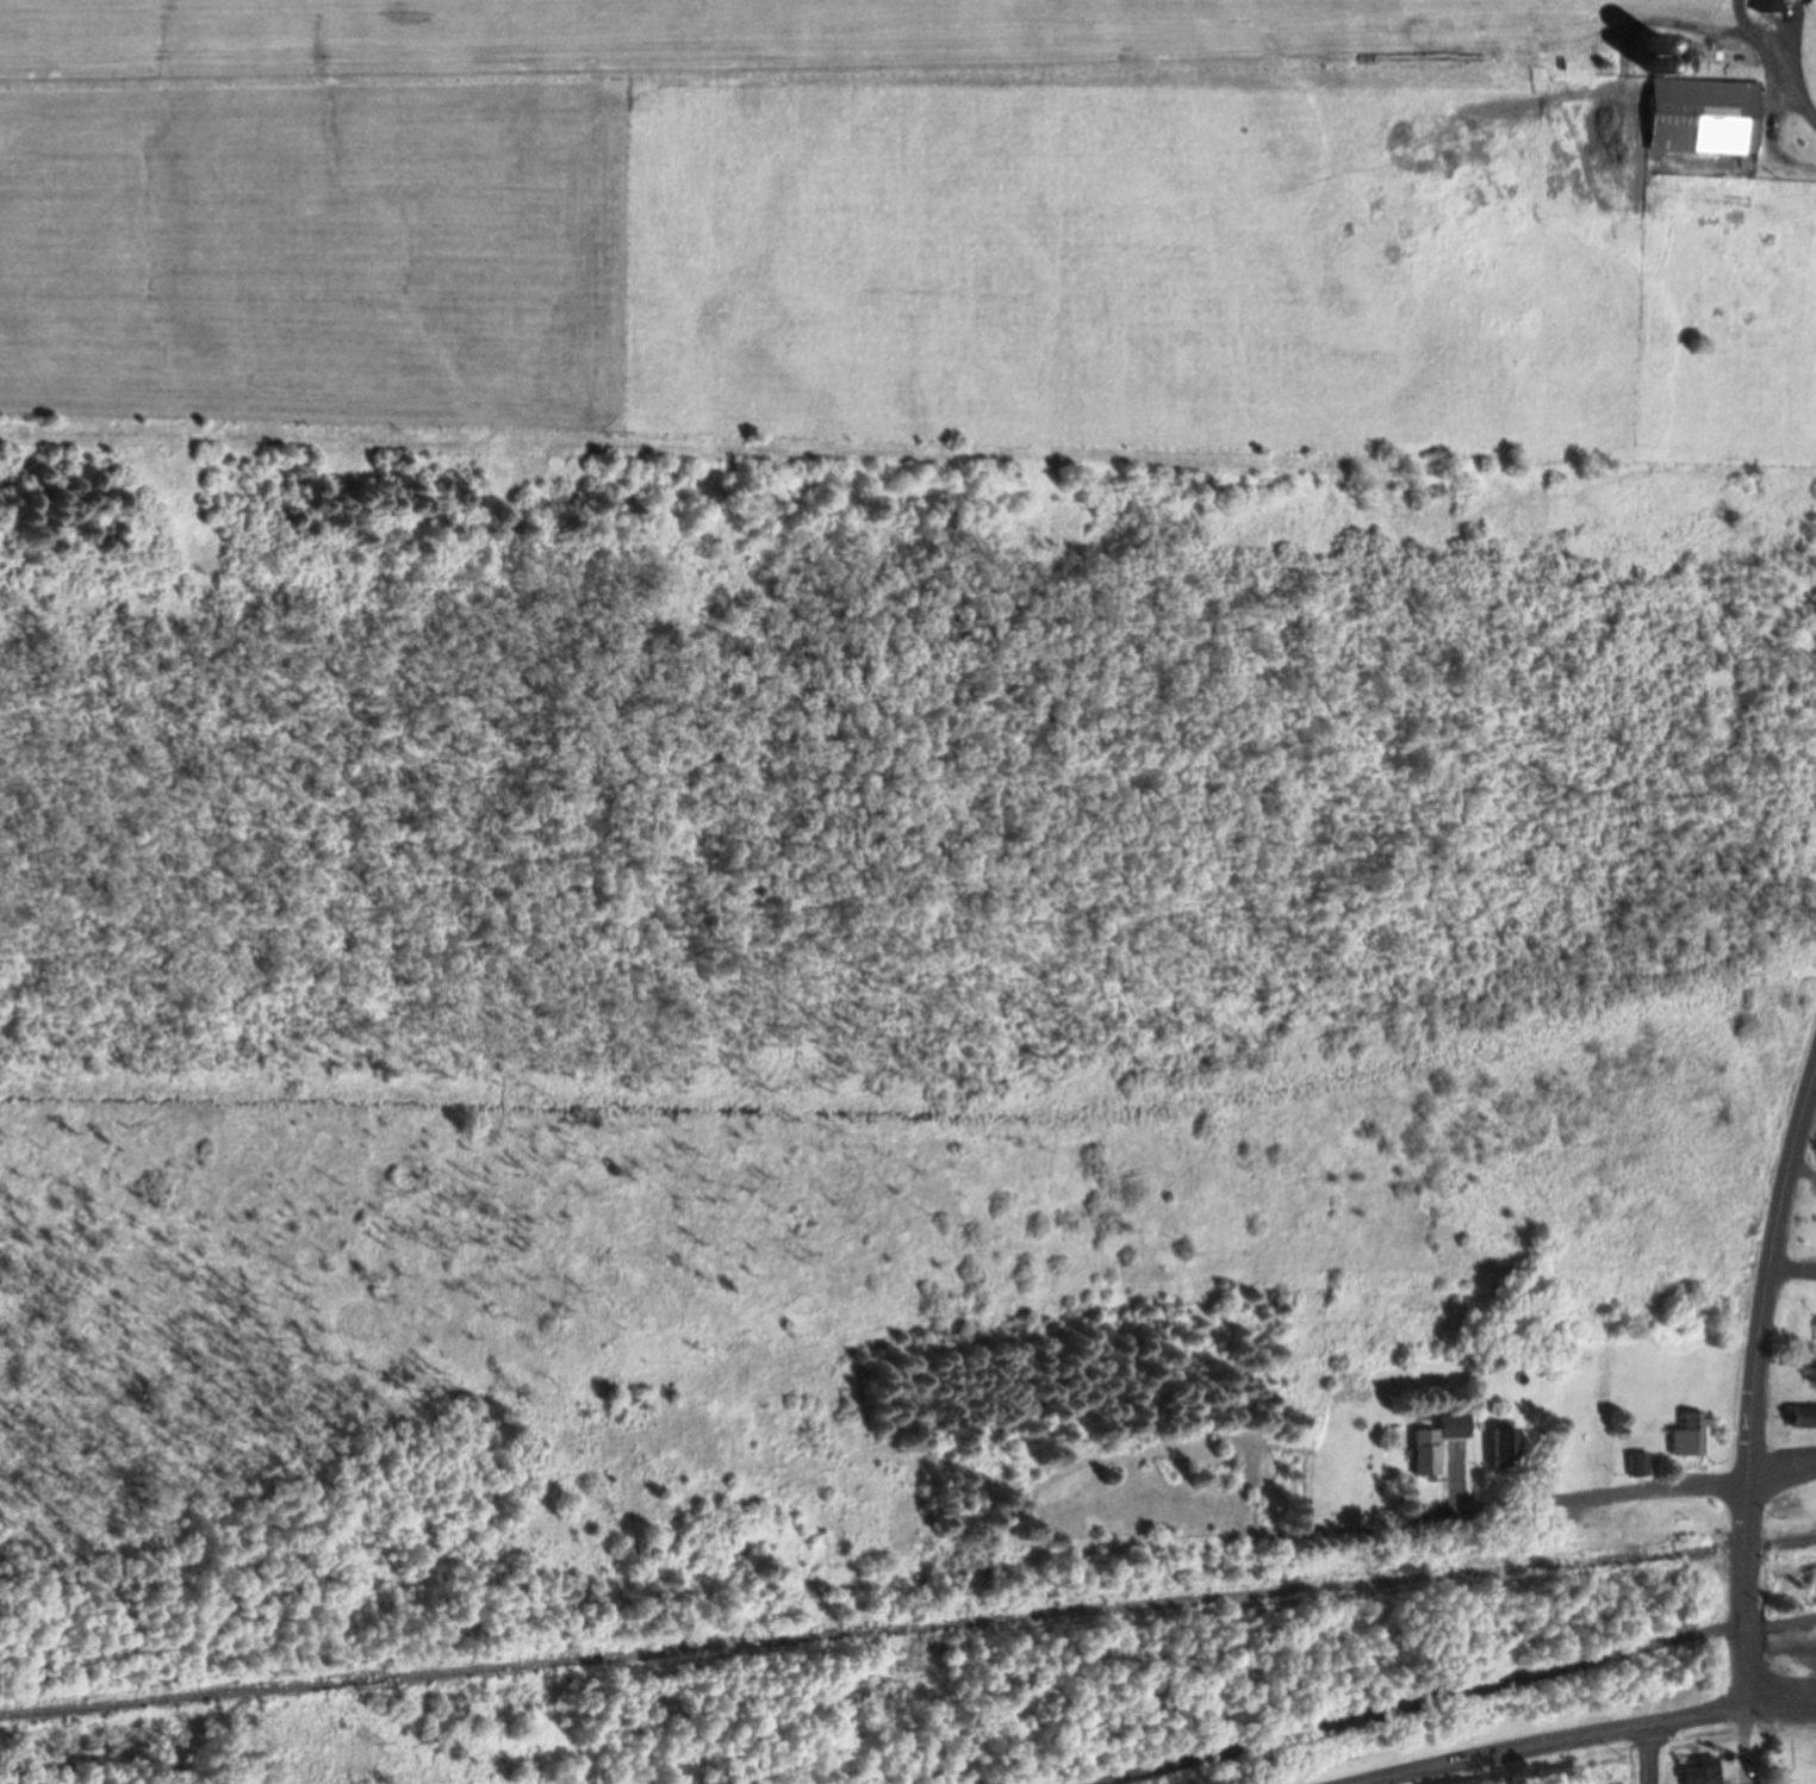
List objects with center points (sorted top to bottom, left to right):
building: (1771, 7)
building: (1705, 119)
crop: (889, 226)
road: (1803, 1173)
road: (1792, 1274)
road: (1758, 1382)
building: (1805, 1419)
building: (1694, 1438)
building: (1439, 1446)
building: (1506, 1450)
building: (1642, 1467)
road: (1783, 1477)
road: (1603, 1498)
railway: (908, 1629)
road: (1444, 1695)
road: (1786, 1696)
road: (1565, 1741)
road: (1649, 1755)
building: (1699, 1782)

